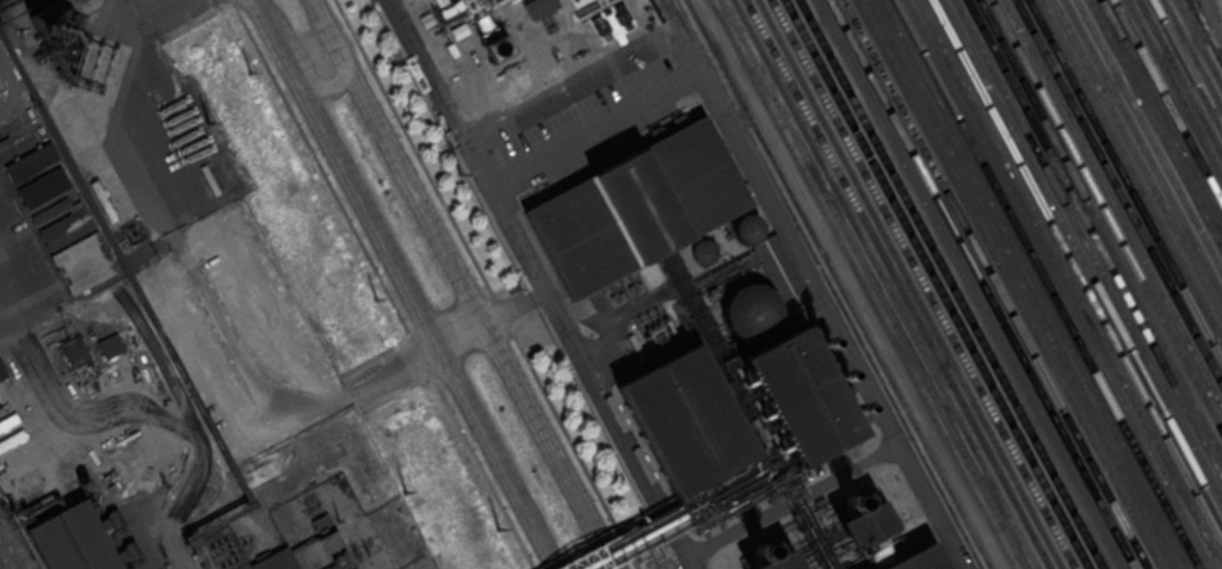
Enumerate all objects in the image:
building: (439, 1)
building: (539, 7)
building: (450, 8)
railway: (1204, 31)
railway: (1198, 43)
building: (498, 47)
chimney: (494, 54)
railway: (721, 54)
railway: (1192, 55)
road: (307, 63)
railway: (1186, 66)
railway: (1180, 76)
road: (568, 79)
railway: (1174, 88)
railway: (1167, 101)
road: (125, 111)
parking lot: (584, 111)
railway: (1161, 112)
railway: (1155, 124)
road: (594, 128)
railway: (1148, 136)
railway: (1142, 147)
building: (19, 154)
railway: (1136, 159)
building: (33, 166)
railway: (1130, 169)
road: (346, 172)
road: (481, 177)
railway: (1124, 181)
building: (43, 187)
railway: (1118, 192)
railway: (1112, 204)
building: (637, 208)
building: (50, 209)
railway: (1106, 215)
railway: (1100, 227)
building: (66, 228)
railway: (1093, 239)
railway: (1087, 249)
railway: (1081, 260)
building: (84, 261)
building: (777, 265)
railway: (1075, 272)
road: (382, 284)
road: (464, 284)
road: (487, 284)
power plant: (673, 284)
road: (816, 284)
railway: (839, 284)
railway: (862, 284)
railway: (874, 284)
railway: (885, 284)
railway: (897, 284)
railway: (911, 284)
railway: (922, 284)
railway: (937, 284)
railway: (952, 284)
railway: (969, 284)
railway: (982, 284)
railway: (995, 284)
railway: (1008, 284)
railway: (1022, 284)
railway: (1033, 284)
railway: (1047, 284)
railway: (1059, 284)
railway: (1069, 284)
road: (20, 301)
road: (617, 315)
road: (461, 332)
chimney: (820, 342)
building: (110, 345)
building: (74, 353)
chimney: (838, 376)
road: (264, 394)
chimney: (856, 408)
building: (742, 419)
road: (619, 431)
road: (498, 456)
chimney: (851, 499)
power substation: (346, 530)
building: (870, 536)
building: (73, 539)
chimney: (759, 549)
building: (782, 559)
building: (276, 561)

